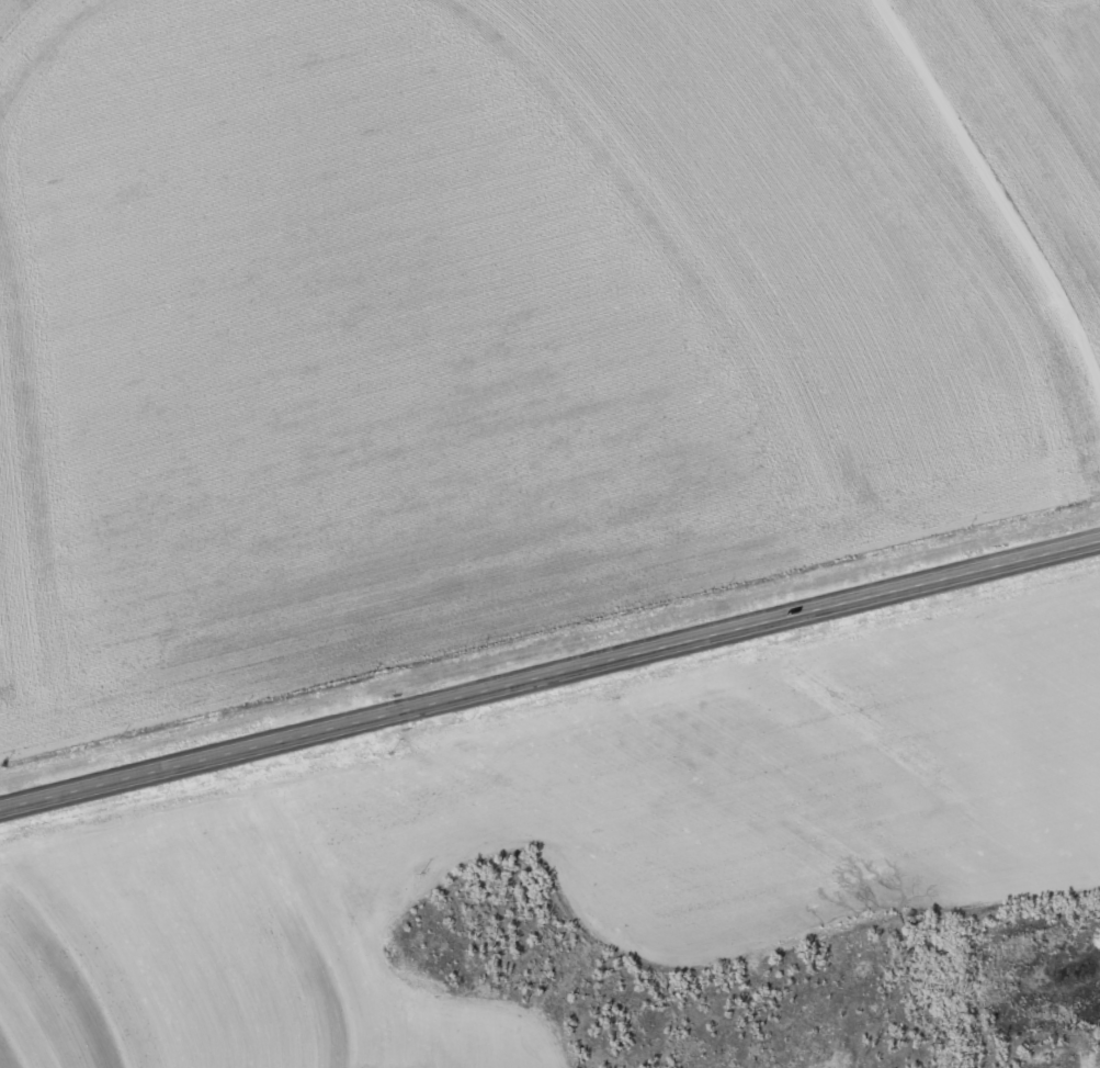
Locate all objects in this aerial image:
road: (549, 670)

